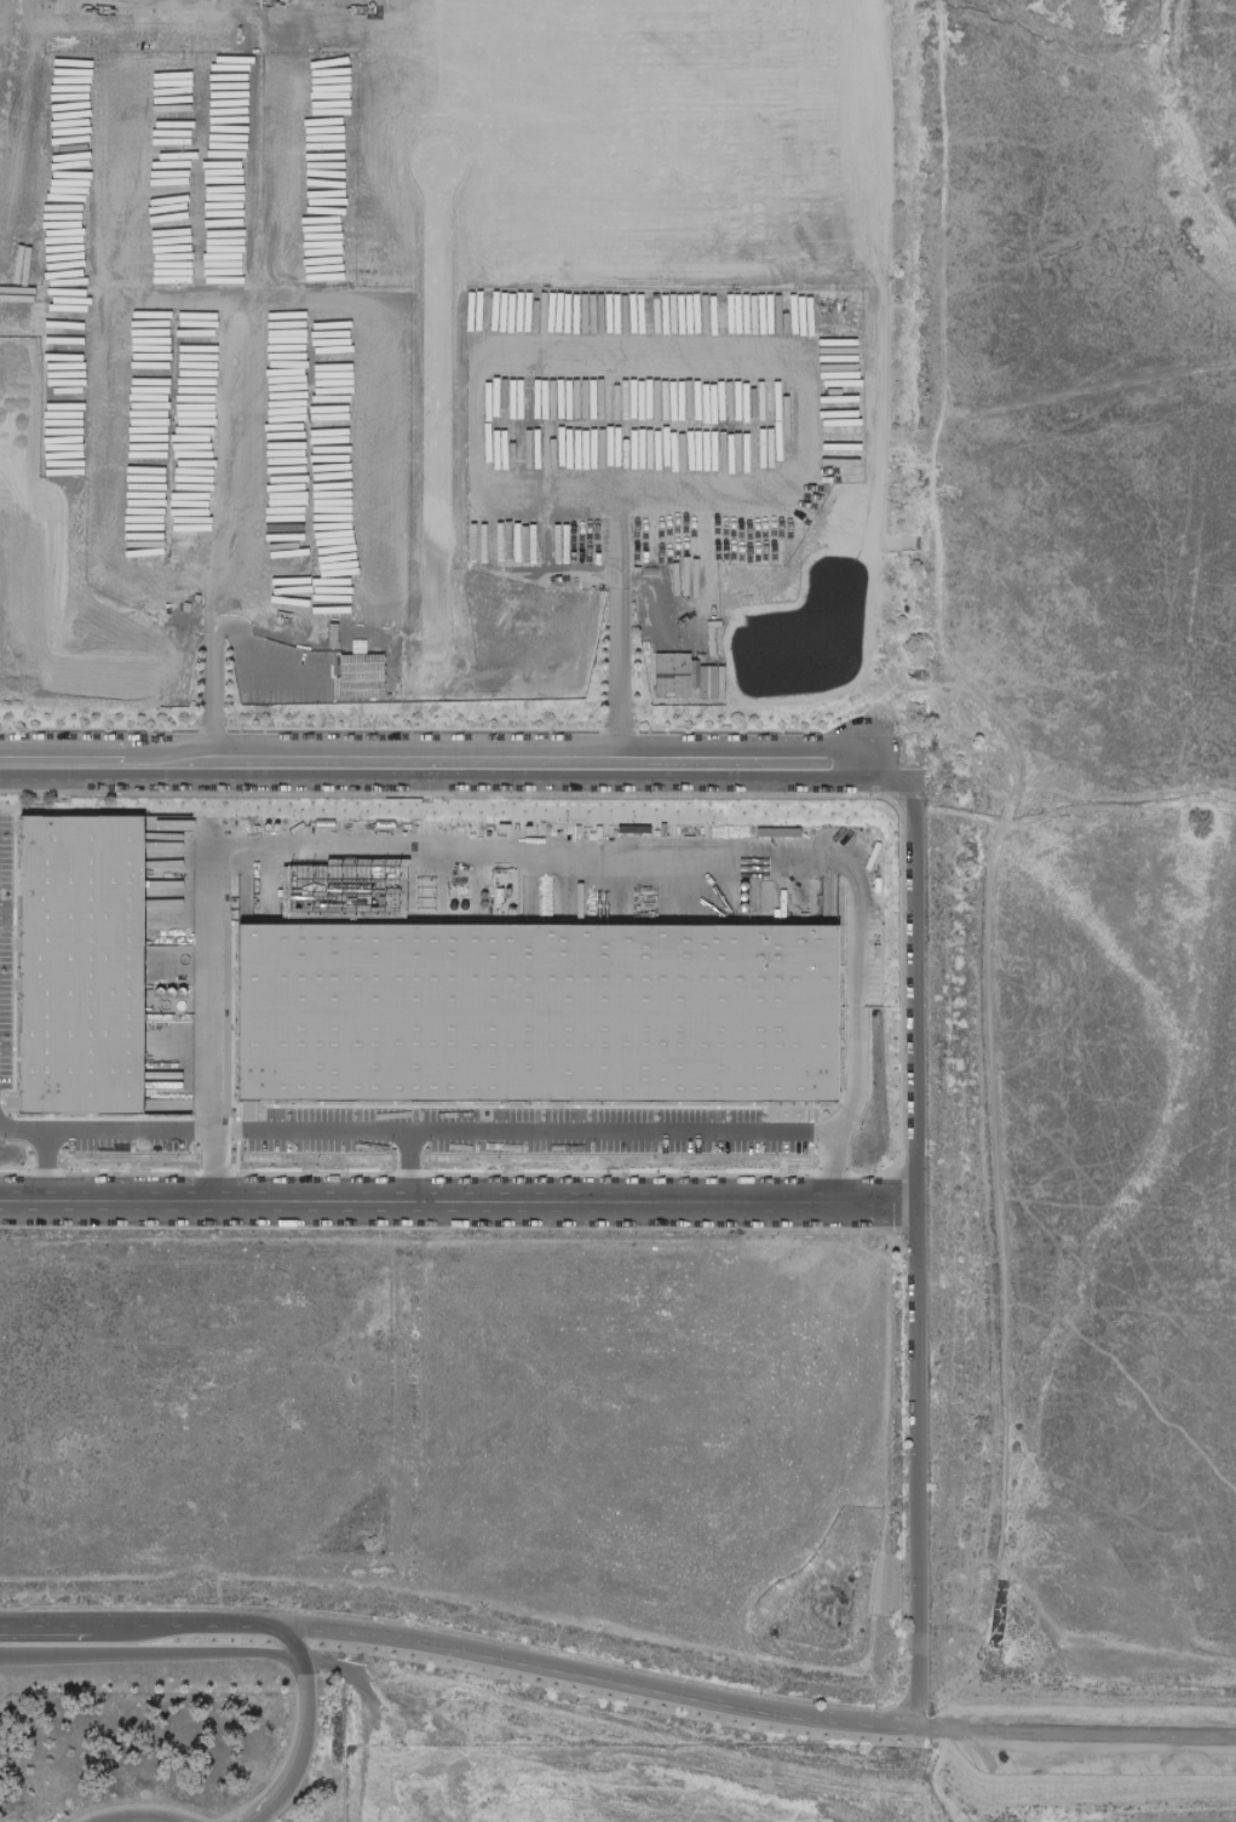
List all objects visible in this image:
road: (668, 357)
road: (1100, 391)
road: (219, 622)
building: (364, 677)
road: (437, 749)
road: (436, 782)
road: (1050, 809)
road: (1000, 816)
road: (415, 850)
building: (87, 966)
road: (913, 976)
building: (546, 1015)
road: (614, 1123)
road: (268, 1126)
road: (19, 1127)
road: (455, 1203)
road: (912, 1467)
road: (45, 1626)
road: (180, 1628)
road: (284, 1645)
road: (148, 1660)
road: (591, 1680)
road: (1074, 1730)
road: (298, 1751)
road: (1074, 1761)
road: (841, 1793)
road: (140, 1816)

